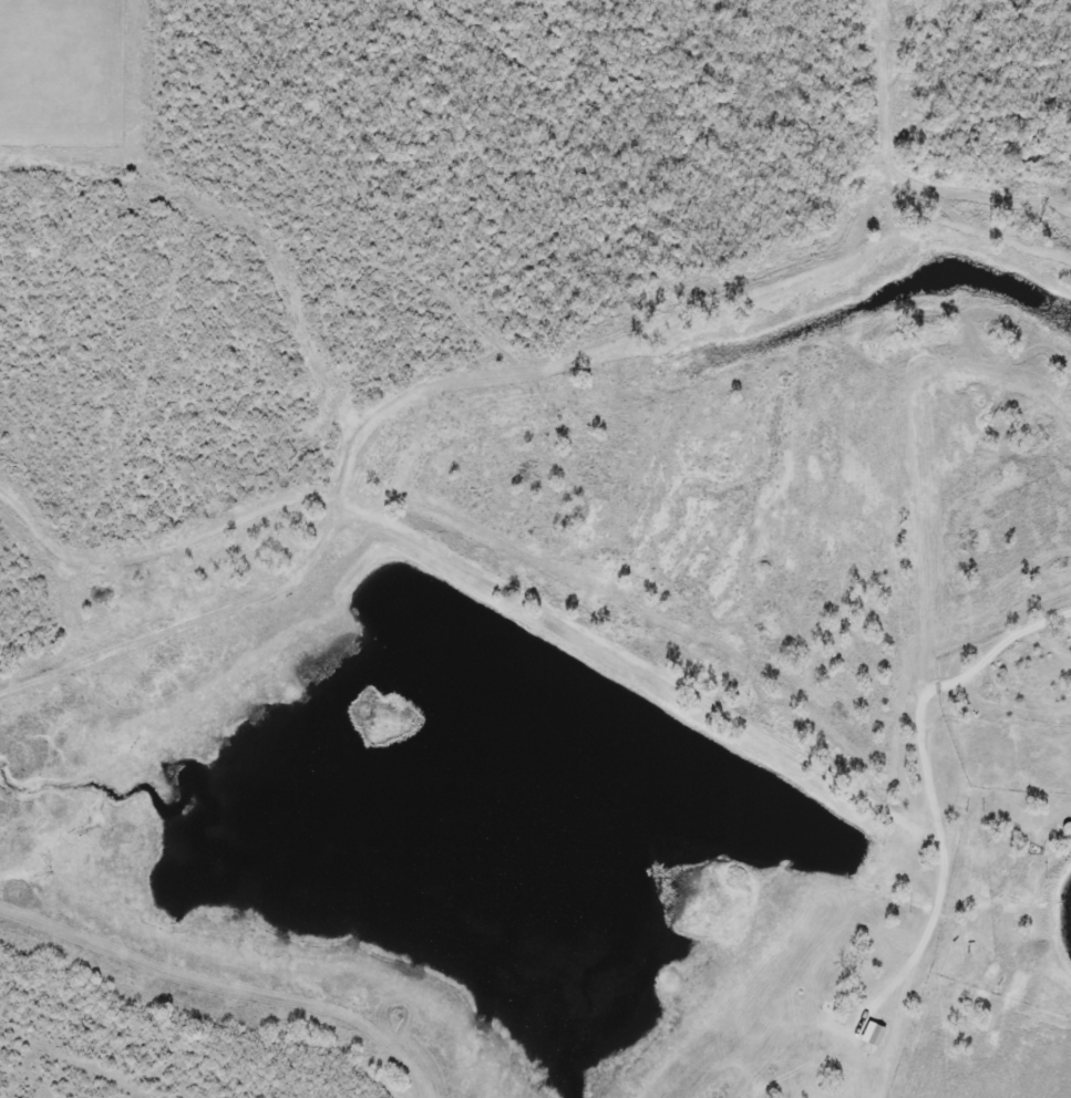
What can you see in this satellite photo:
road: (947, 747)
building: (869, 1037)

